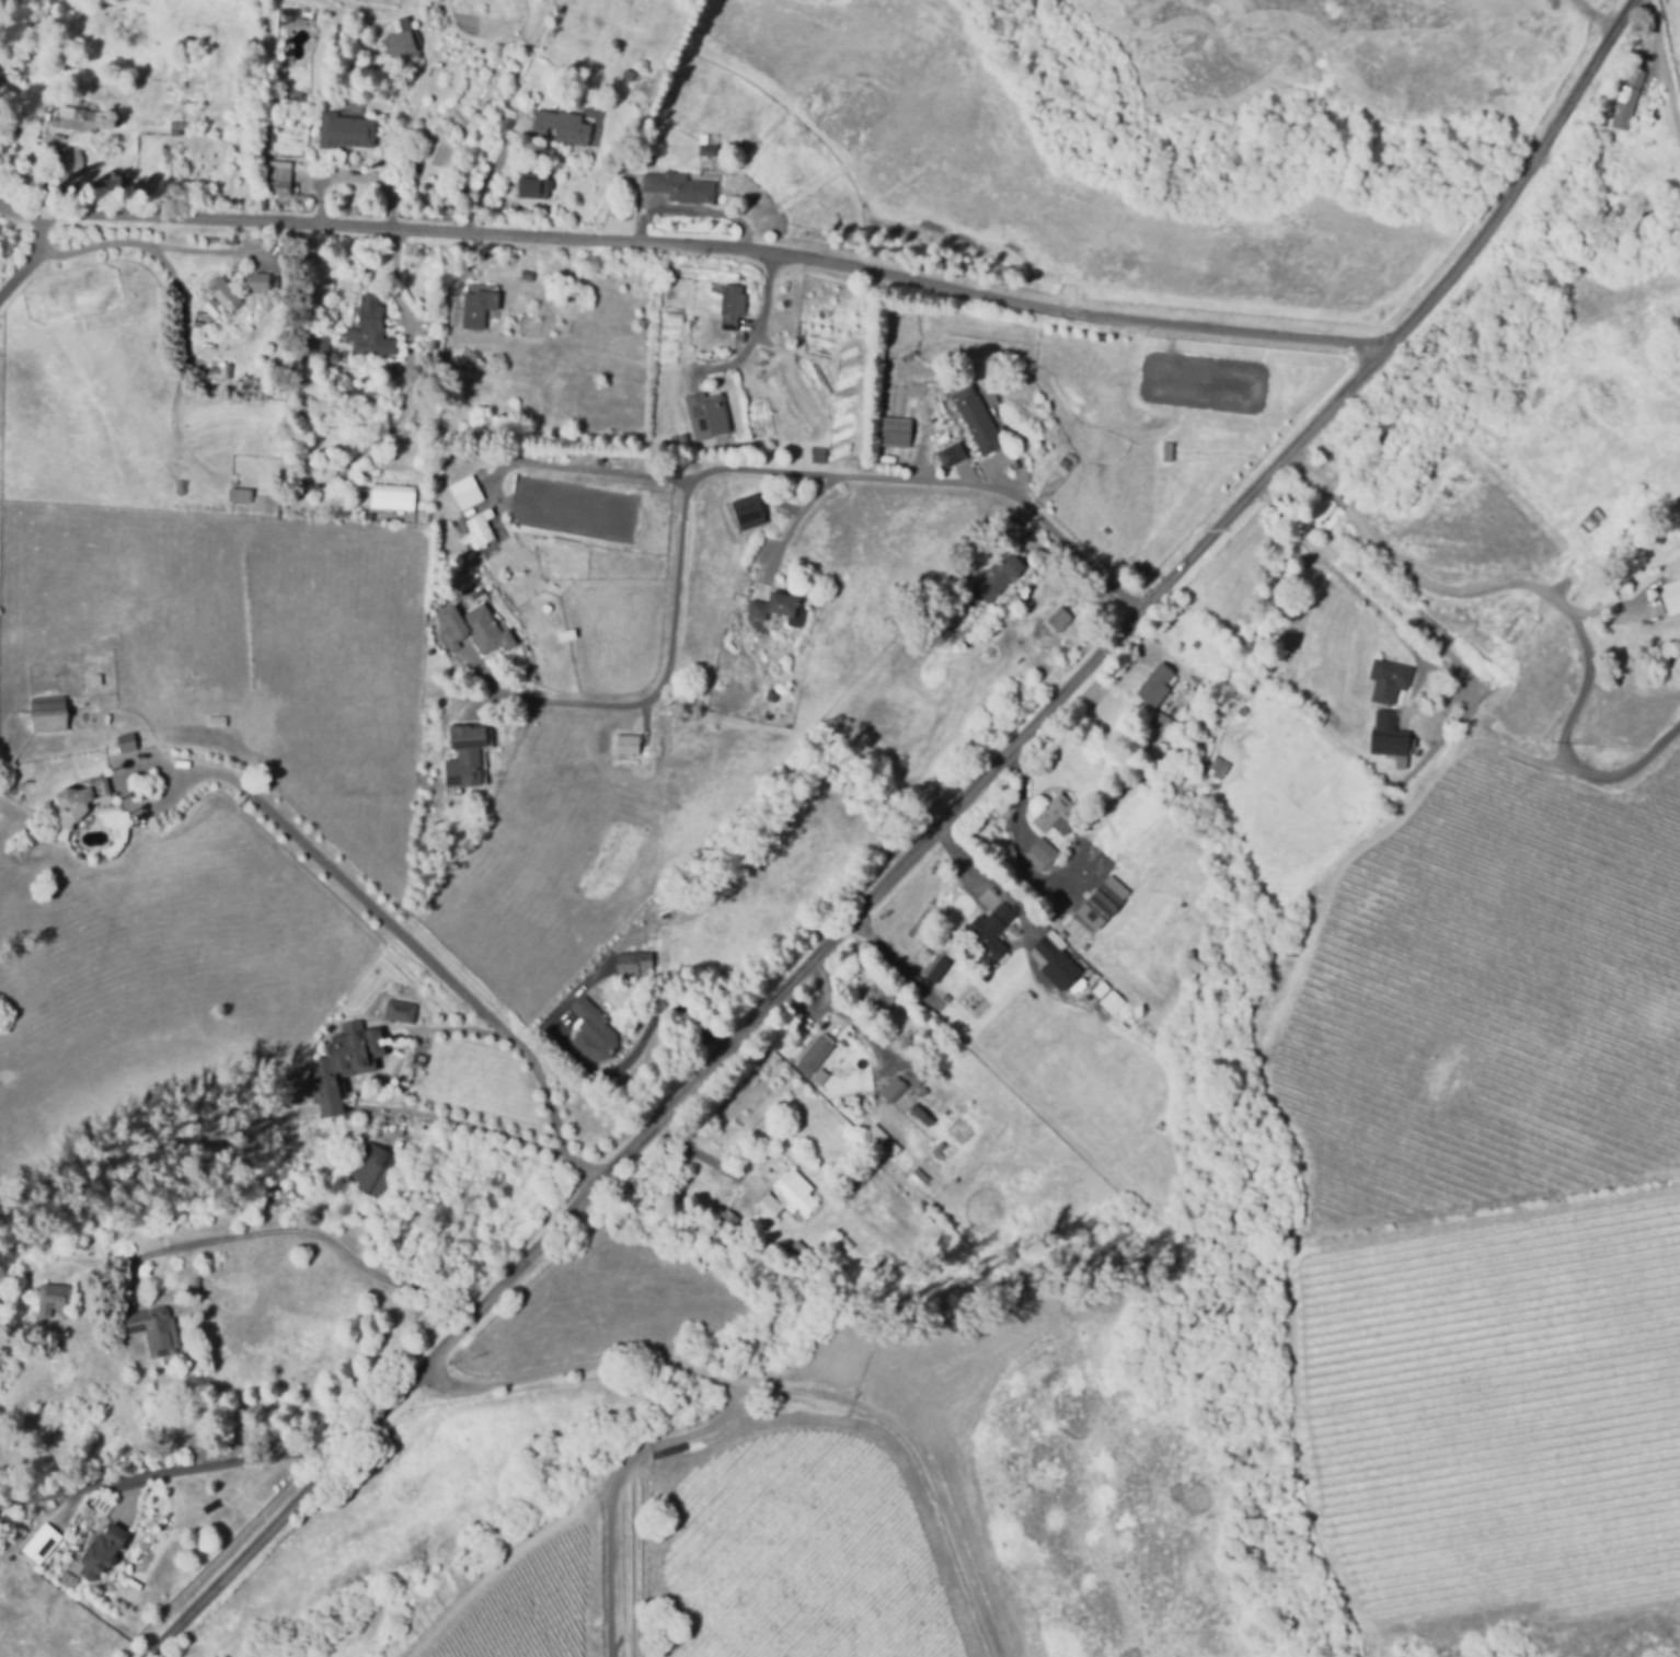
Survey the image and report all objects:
building: (290, 13)
road: (1593, 19)
building: (405, 46)
building: (186, 48)
road: (1666, 56)
building: (1631, 99)
building: (80, 118)
building: (563, 125)
building: (691, 127)
building: (1633, 128)
building: (346, 131)
road: (407, 147)
building: (710, 153)
building: (73, 158)
building: (279, 177)
building: (533, 186)
building: (412, 188)
building: (680, 189)
building: (302, 196)
road: (694, 218)
building: (212, 238)
building: (231, 240)
road: (692, 244)
road: (148, 249)
road: (36, 262)
building: (528, 275)
building: (257, 283)
building: (226, 294)
building: (208, 303)
building: (729, 306)
building: (218, 312)
building: (479, 312)
building: (672, 318)
building: (370, 327)
road: (753, 334)
building: (737, 337)
building: (304, 343)
building: (433, 344)
building: (667, 344)
building: (324, 348)
building: (761, 352)
building: (881, 356)
building: (666, 358)
road: (413, 368)
road: (183, 370)
building: (704, 415)
building: (978, 419)
building: (900, 435)
building: (680, 438)
building: (661, 442)
storage tank: (661, 442)
building: (953, 454)
building: (1068, 464)
road: (600, 472)
road: (753, 472)
road: (1310, 475)
building: (314, 477)
building: (464, 492)
building: (393, 496)
building: (243, 498)
road: (1336, 500)
building: (747, 511)
building: (283, 514)
building: (370, 514)
building: (361, 515)
building: (1592, 519)
building: (481, 529)
road: (792, 531)
road: (1337, 571)
building: (999, 575)
building: (1672, 596)
building: (779, 607)
building: (1060, 618)
road: (1575, 624)
building: (480, 633)
building: (1196, 643)
building: (1390, 679)
building: (100, 682)
building: (1158, 683)
building: (773, 697)
building: (49, 716)
building: (1161, 721)
building: (218, 723)
building: (1390, 734)
building: (128, 745)
building: (631, 747)
building: (468, 762)
road: (552, 764)
building: (1218, 767)
road: (138, 769)
building: (80, 804)
building: (1055, 812)
road: (1019, 829)
road: (922, 849)
building: (1043, 852)
road: (1002, 890)
building: (1102, 906)
building: (993, 933)
building: (1059, 960)
road: (899, 964)
building: (636, 966)
building: (940, 971)
road: (446, 978)
building: (1100, 989)
building: (1112, 992)
crop: (1493, 998)
building: (881, 1000)
building: (1111, 1001)
building: (401, 1011)
building: (600, 1031)
road: (646, 1046)
building: (813, 1052)
building: (352, 1063)
building: (916, 1078)
building: (891, 1086)
building: (919, 1114)
road: (473, 1124)
building: (876, 1130)
building: (891, 1146)
road: (700, 1155)
building: (375, 1173)
building: (793, 1188)
building: (767, 1204)
building: (725, 1210)
road: (333, 1246)
building: (795, 1251)
building: (56, 1303)
building: (157, 1335)
road: (792, 1390)
crop: (1505, 1409)
road: (179, 1474)
road: (620, 1483)
building: (44, 1546)
crop: (808, 1555)
building: (105, 1556)
crop: (532, 1607)

